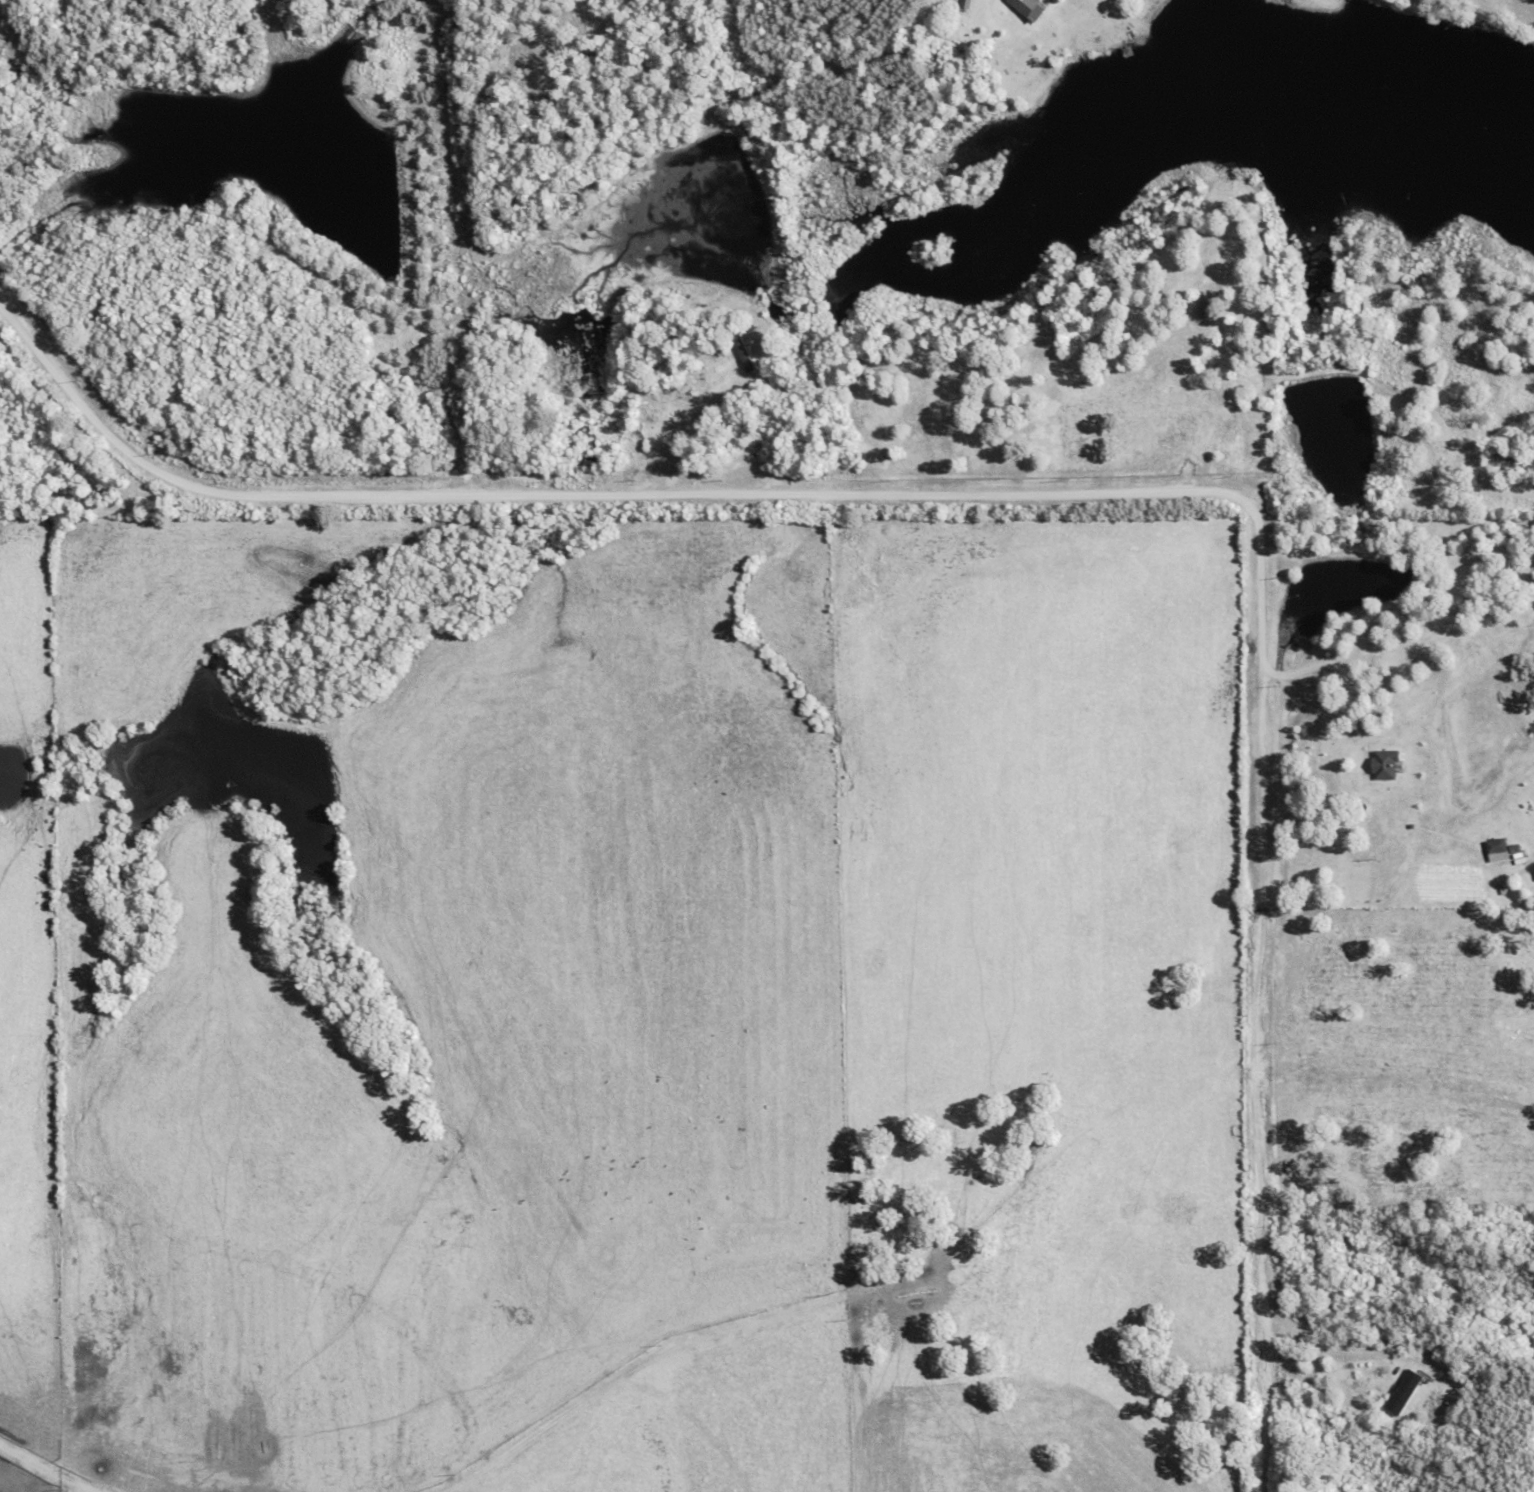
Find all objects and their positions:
building: (963, 3)
building: (1026, 7)
road: (470, 242)
building: (741, 350)
road: (1085, 494)
building: (1382, 763)
building: (1494, 849)
building: (1403, 1391)

